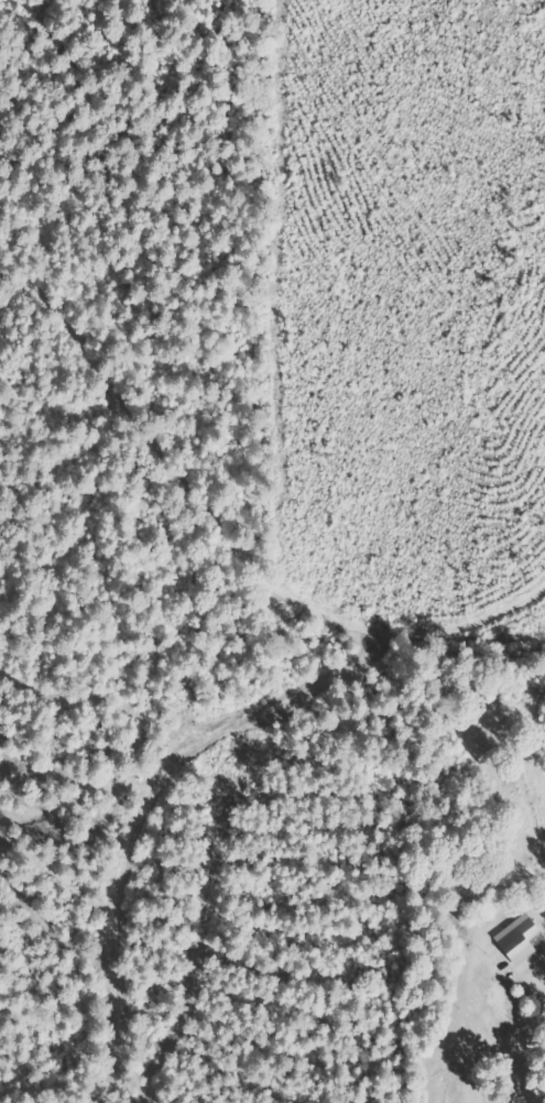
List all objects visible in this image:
building: (520, 939)
road: (515, 1013)

